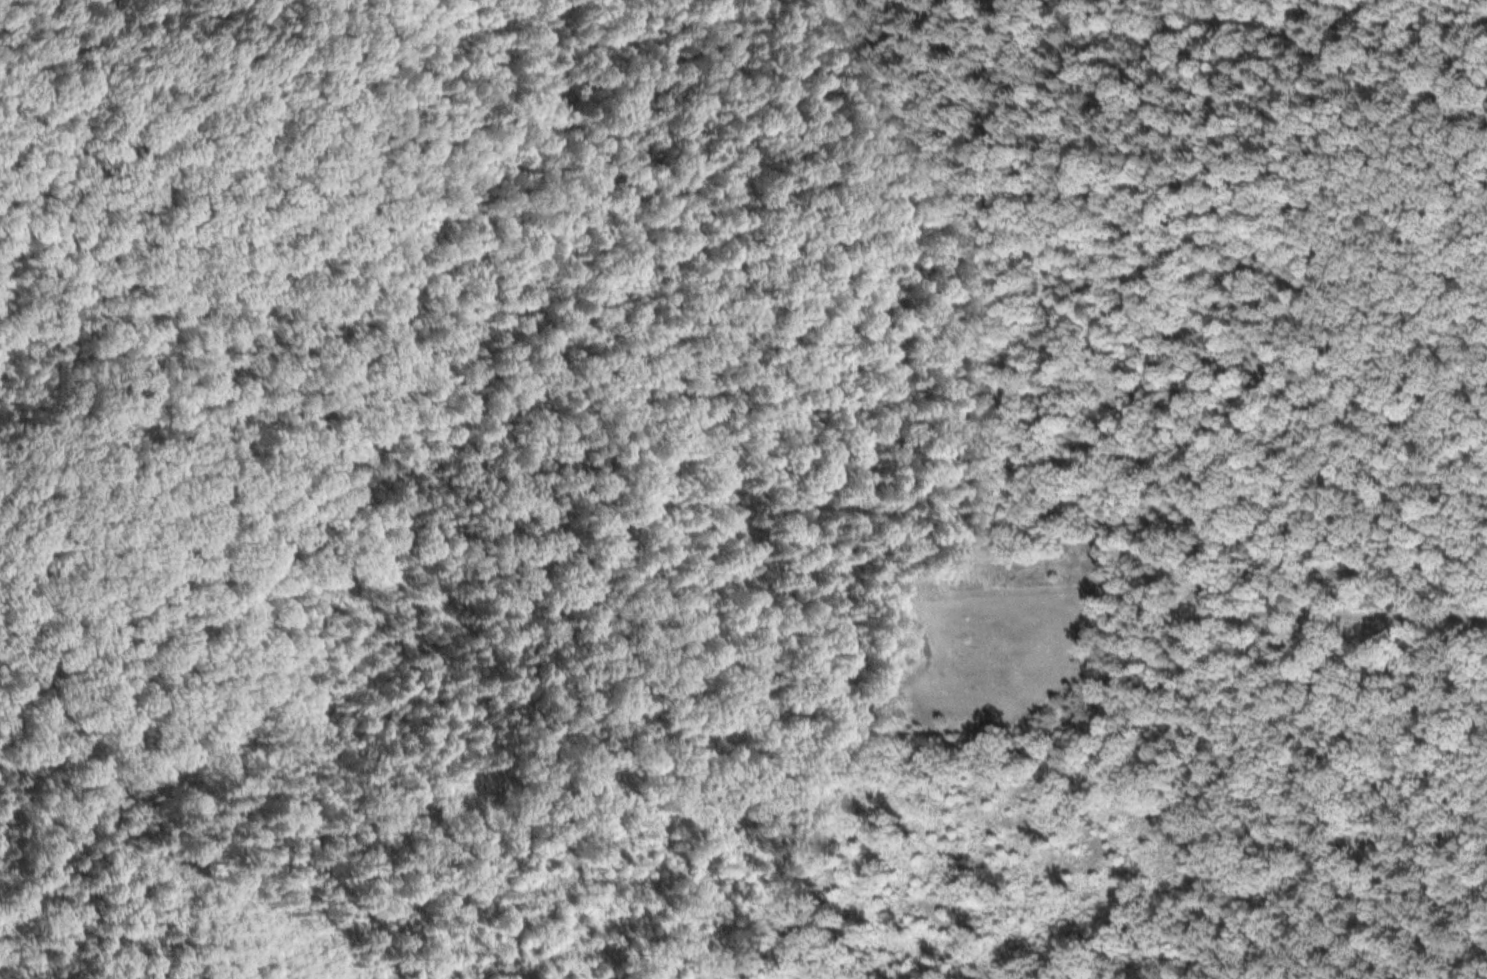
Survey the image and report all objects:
road: (239, 769)
road: (119, 809)

